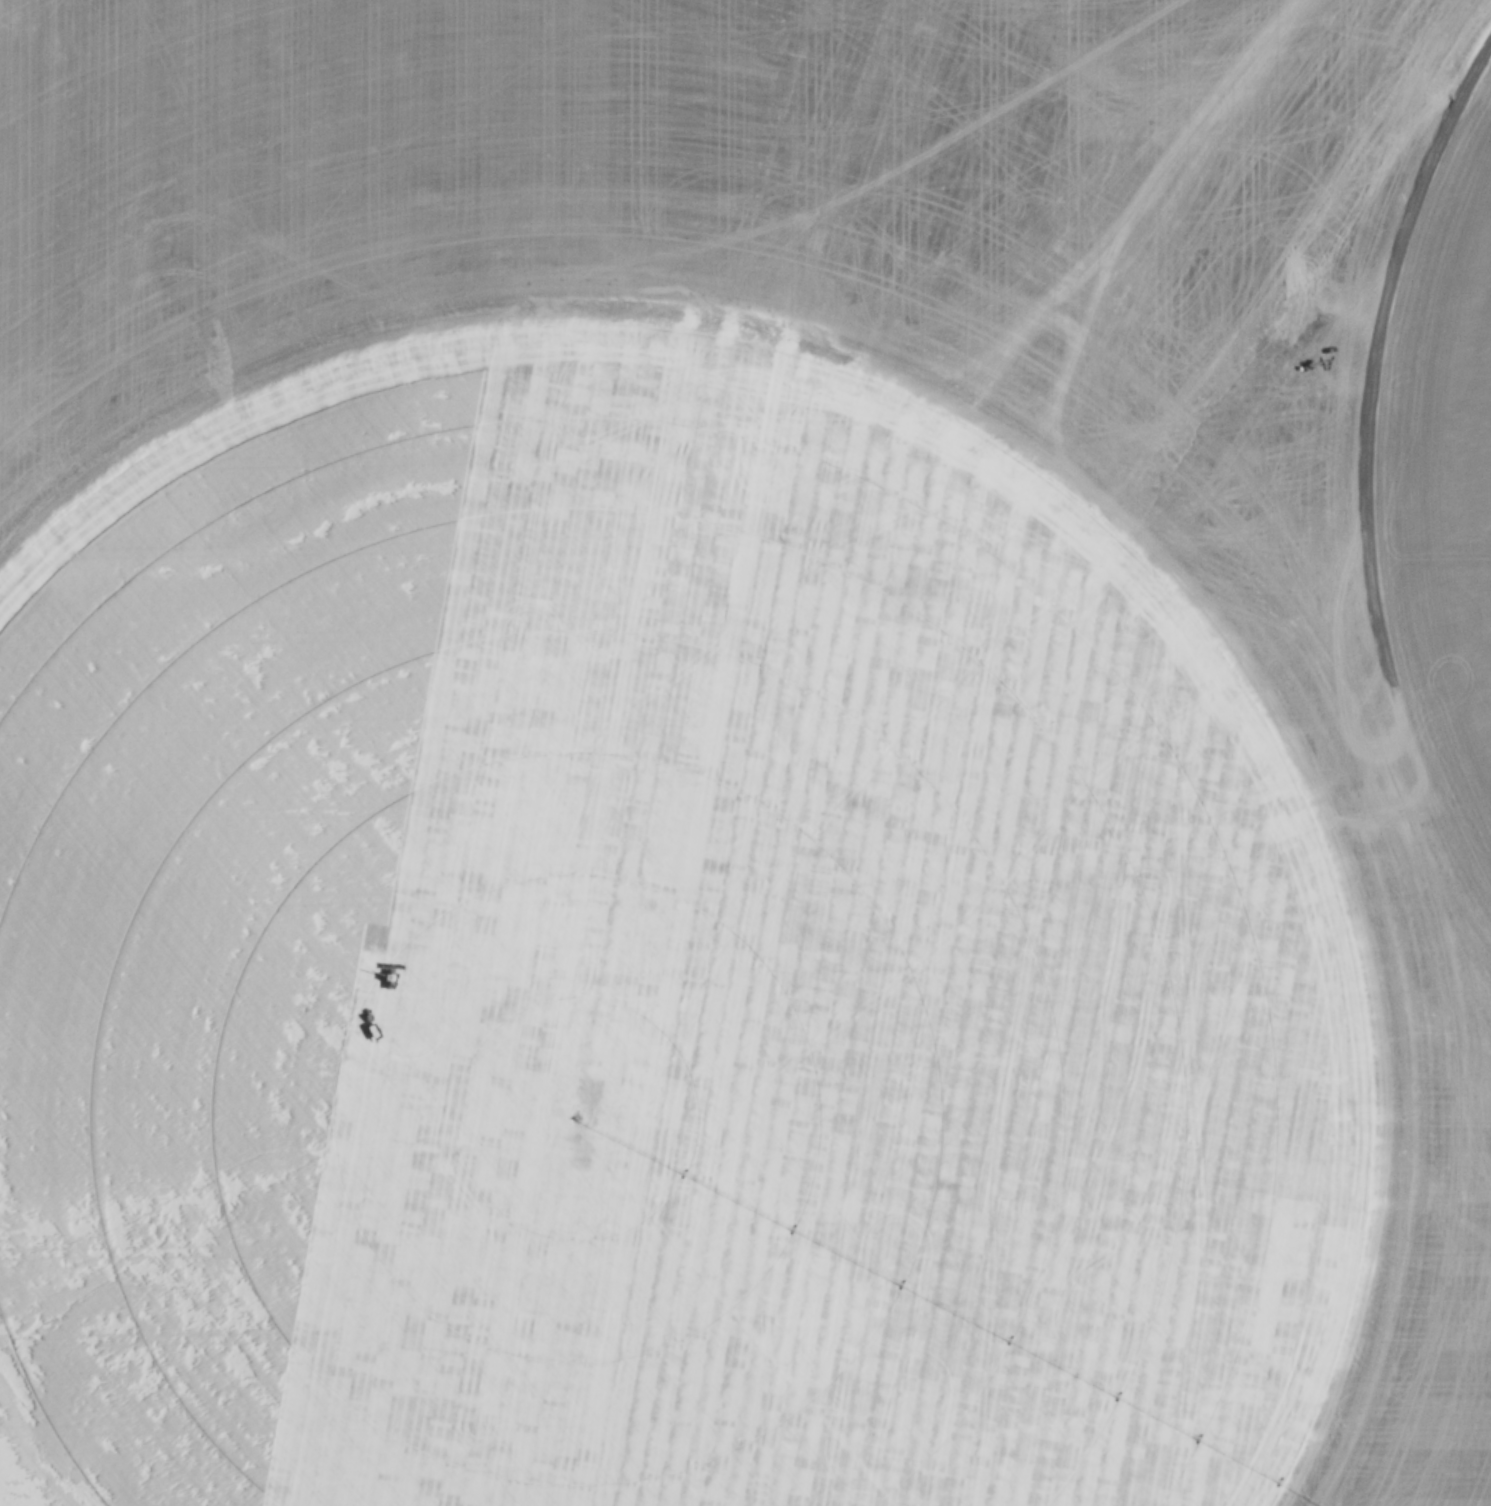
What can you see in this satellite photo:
crop: (1448, 462)

